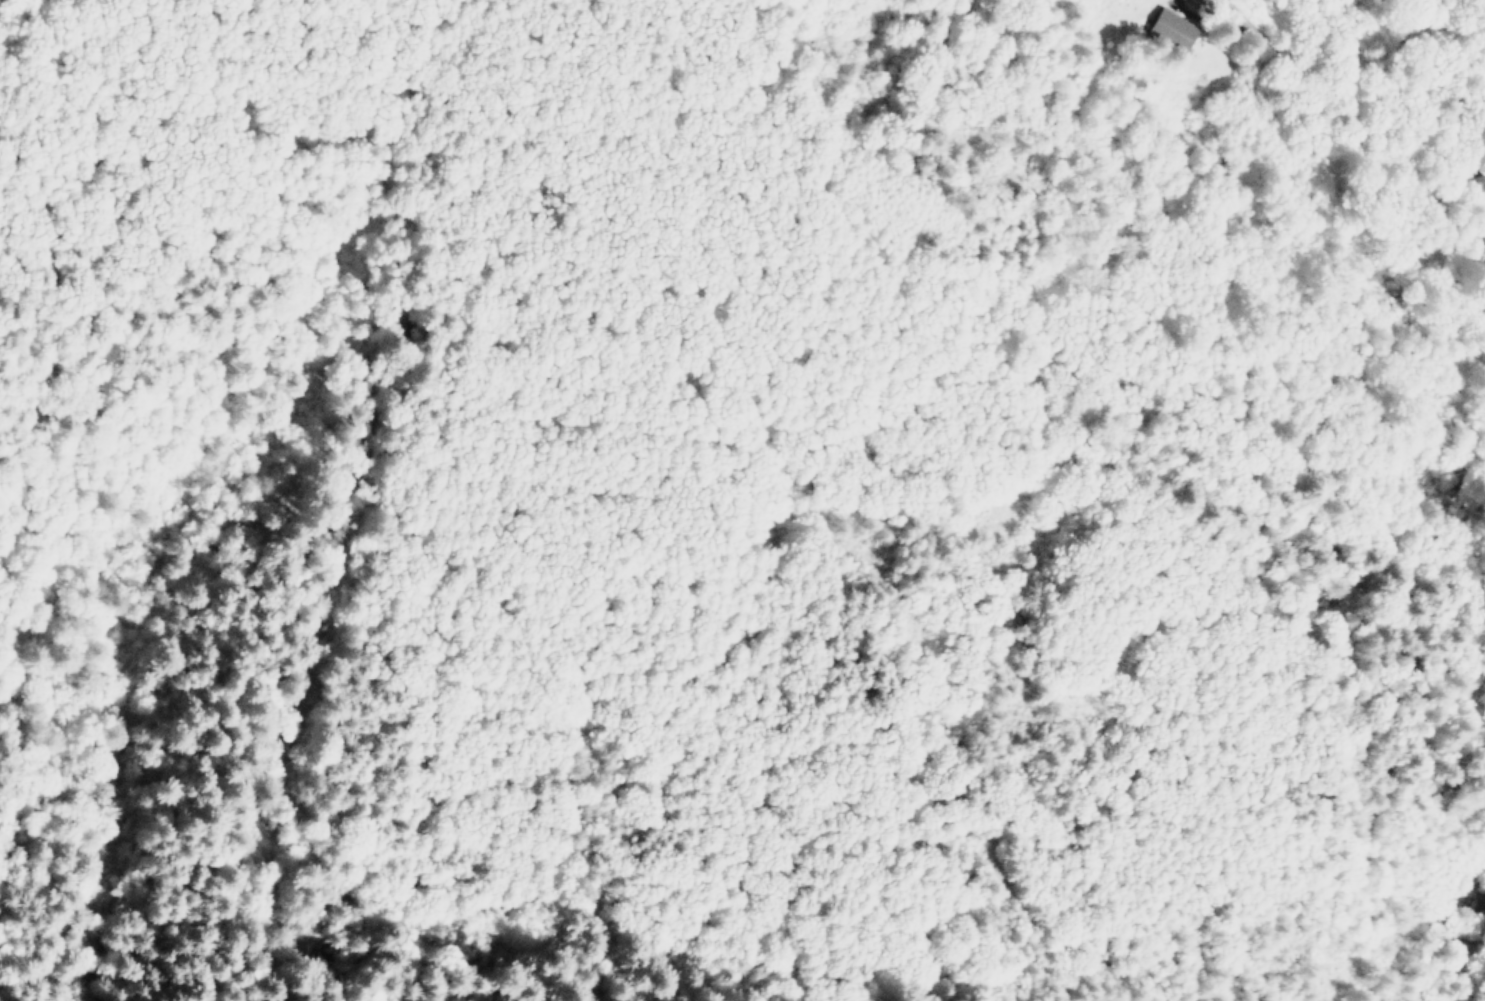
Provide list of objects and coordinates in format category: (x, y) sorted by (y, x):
building: (1194, 1)
building: (1173, 28)

